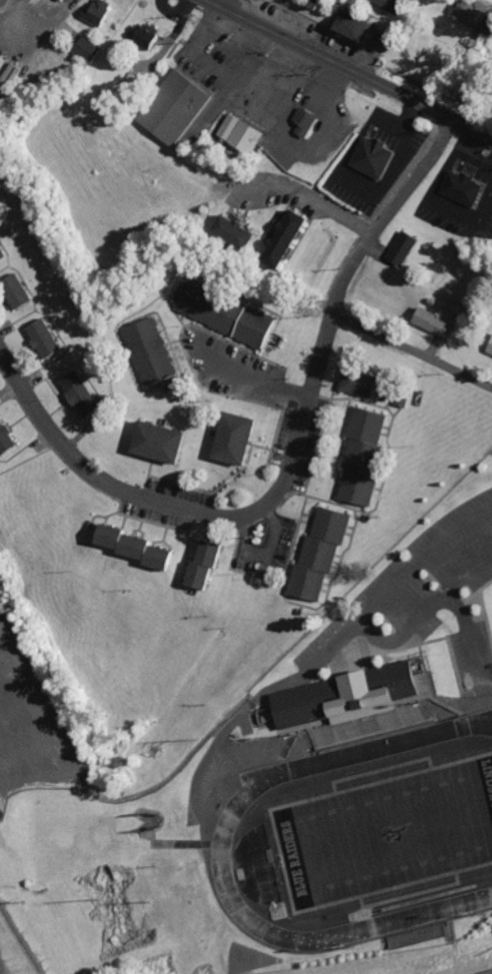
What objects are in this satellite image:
building: (69, 0)
road: (214, 2)
building: (320, 3)
building: (394, 4)
building: (103, 12)
building: (476, 16)
building: (358, 27)
building: (149, 36)
building: (94, 49)
building: (2, 59)
road: (348, 70)
building: (12, 77)
building: (179, 107)
building: (308, 121)
building: (242, 133)
building: (377, 157)
building: (466, 188)
road: (315, 201)
building: (238, 232)
building: (290, 239)
building: (405, 248)
building: (3, 252)
building: (21, 292)
building: (228, 314)
building: (435, 323)
building: (48, 339)
road: (411, 350)
building: (154, 352)
building: (491, 352)
road: (250, 375)
building: (360, 383)
building: (84, 394)
building: (405, 397)
building: (8, 438)
building: (241, 439)
building: (165, 442)
building: (365, 454)
road: (286, 464)
building: (141, 547)
building: (323, 555)
building: (210, 565)
road: (390, 586)
road: (425, 611)
road: (469, 638)
building: (348, 697)
track: (224, 822)
park: (382, 833)
power substation: (13, 950)

